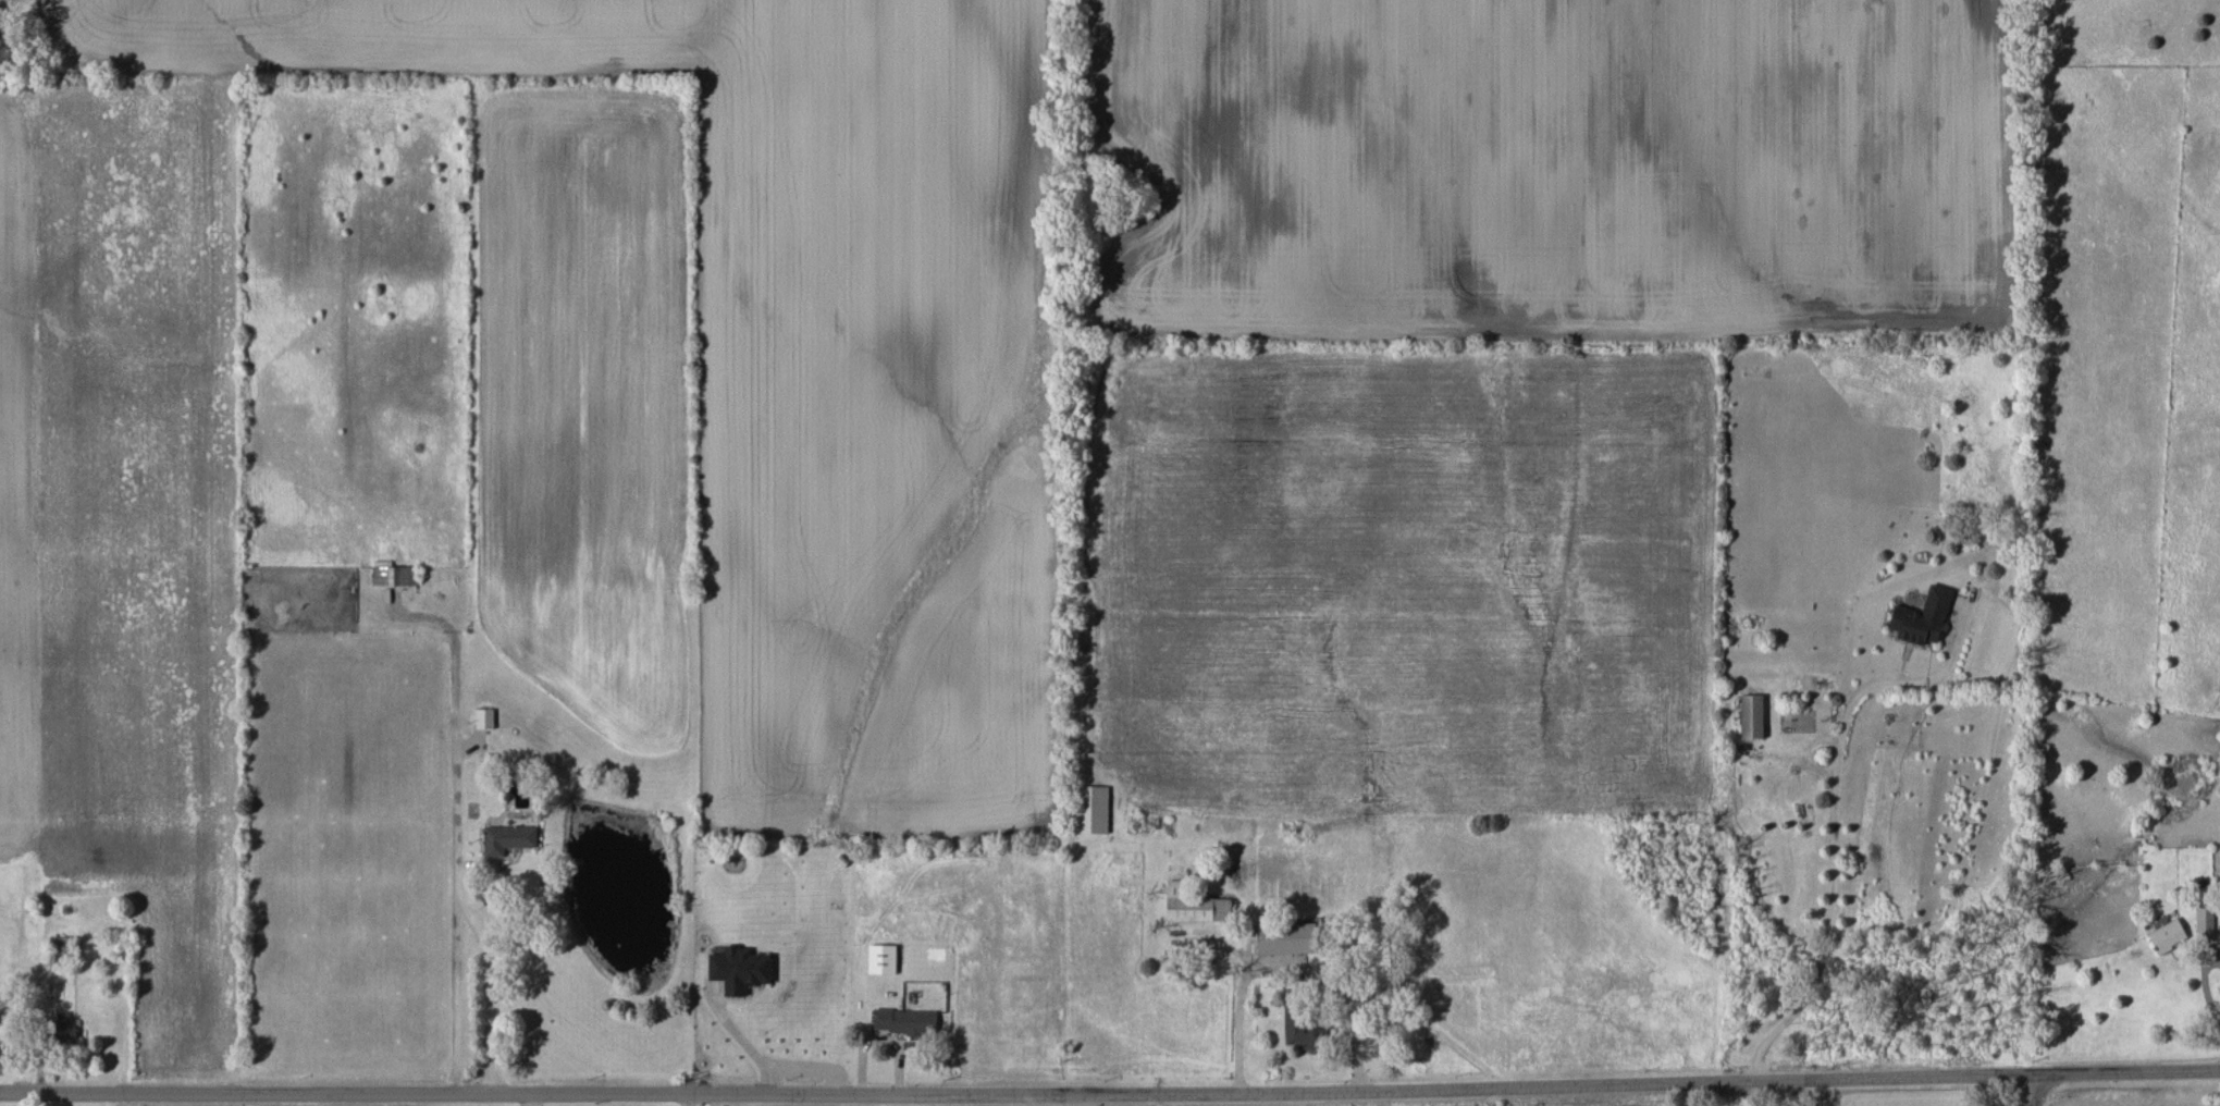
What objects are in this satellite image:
building: (394, 576)
building: (1922, 617)
building: (1751, 716)
building: (484, 718)
building: (1094, 809)
building: (507, 838)
road: (1834, 860)
building: (1194, 905)
building: (2204, 921)
building: (2168, 935)
building: (1285, 938)
building: (881, 959)
road: (1288, 966)
building: (739, 969)
road: (493, 984)
road: (2205, 987)
building: (904, 1021)
building: (64, 1028)
building: (1302, 1031)
road: (2035, 1089)
road: (1110, 1094)
road: (2024, 1098)
road: (694, 1101)

